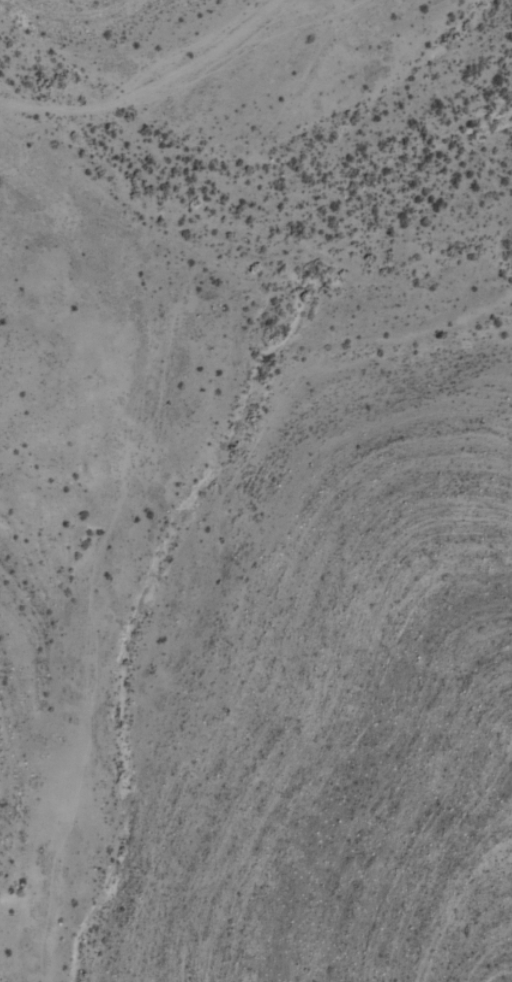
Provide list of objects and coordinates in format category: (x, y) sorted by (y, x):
road: (181, 72)
road: (35, 128)

